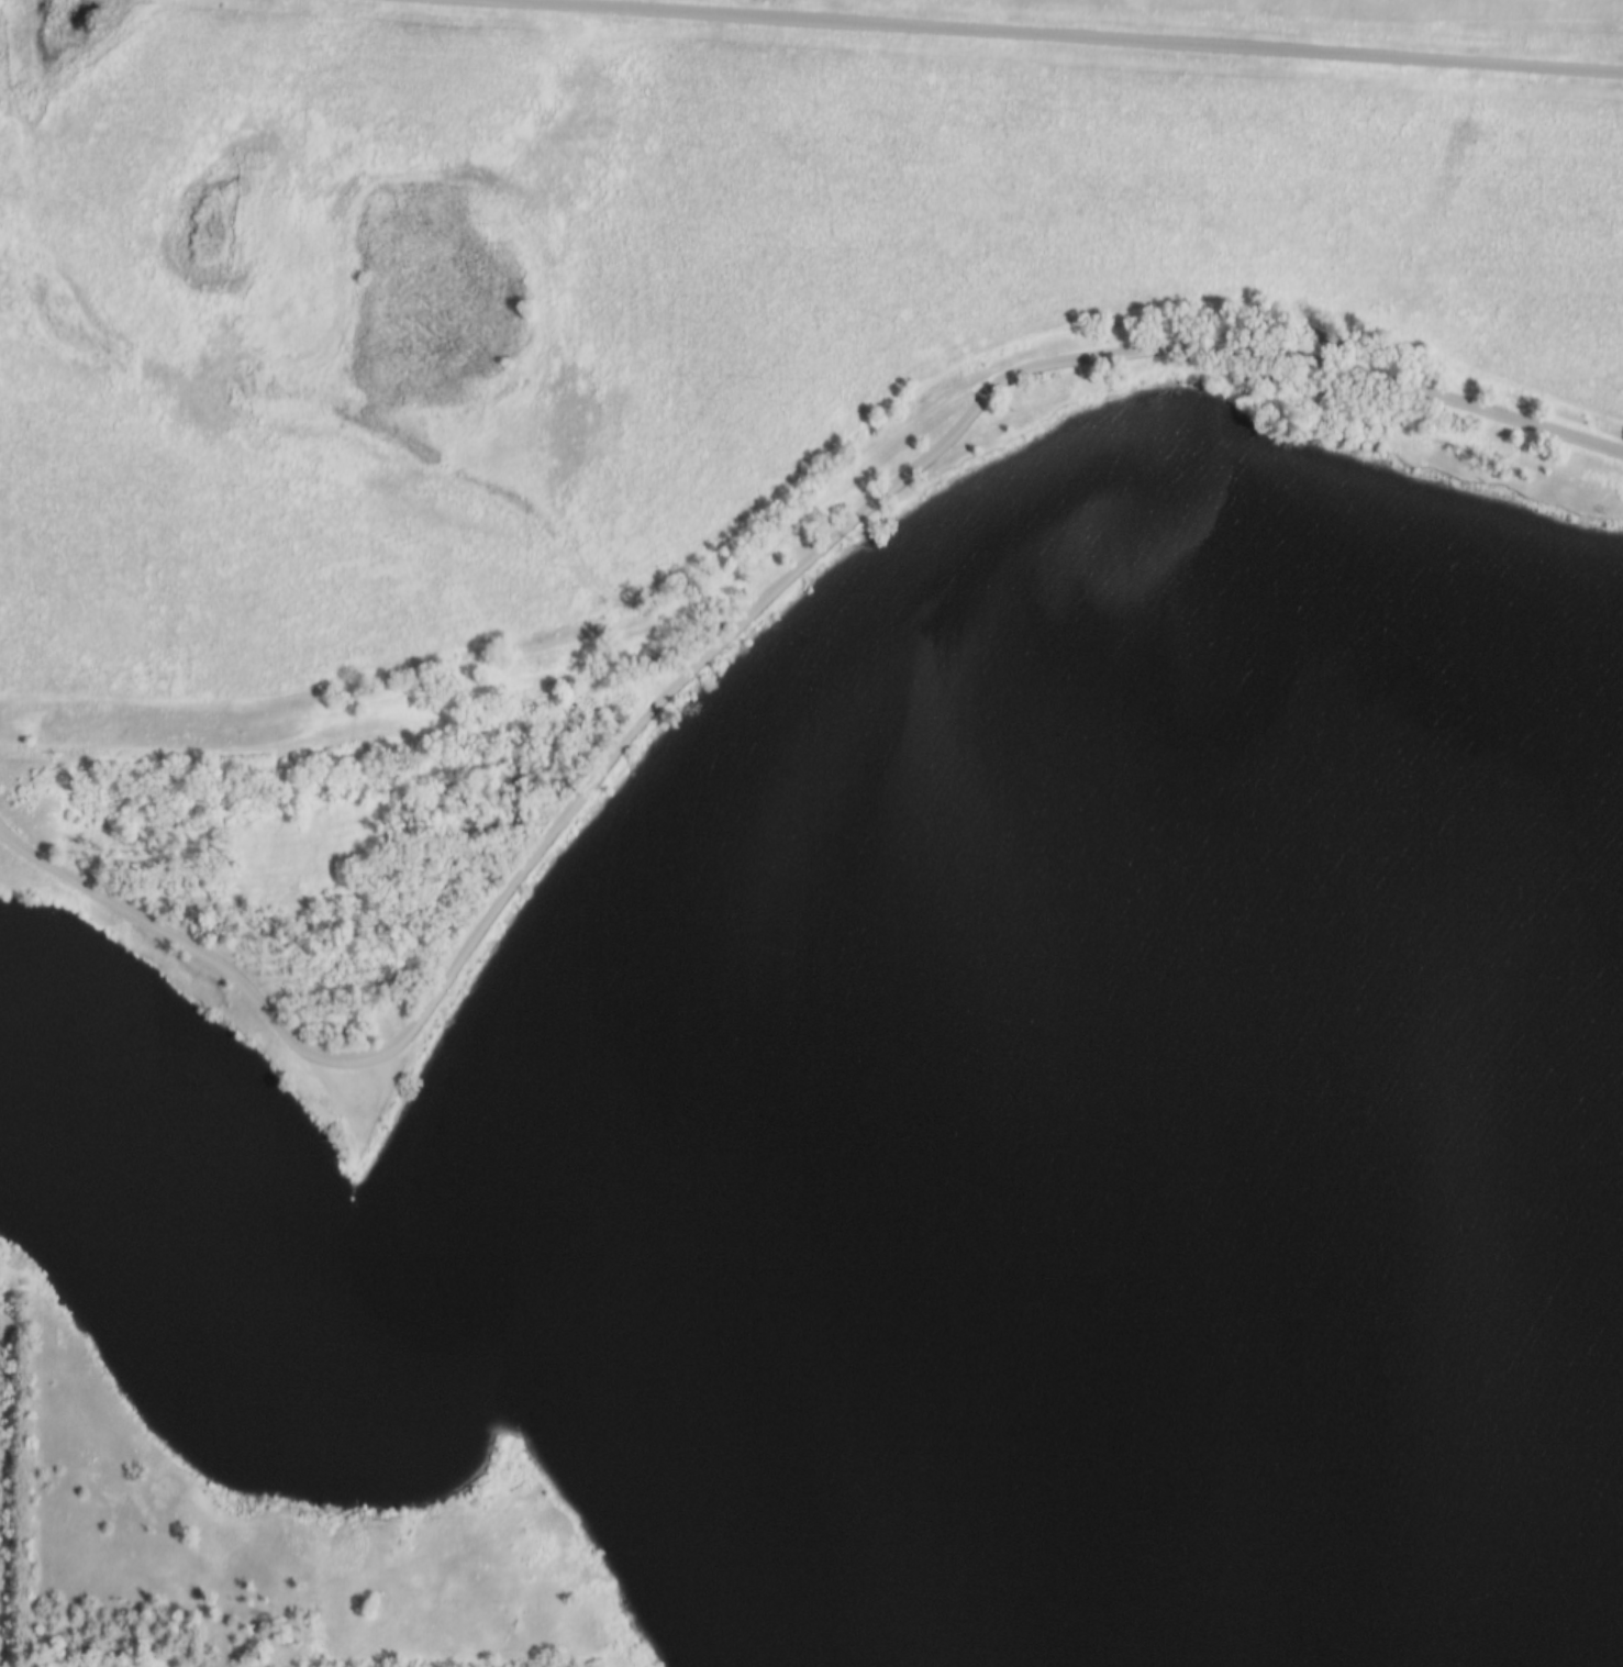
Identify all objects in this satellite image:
road: (1021, 38)
road: (732, 638)
river: (37, 1063)
river: (762, 1322)

